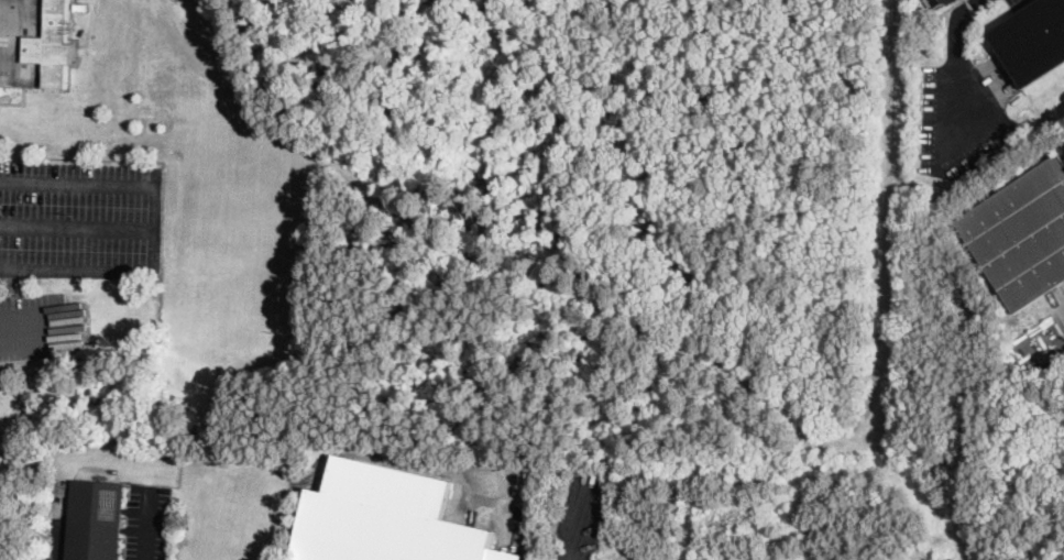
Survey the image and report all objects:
road: (975, 2)
parking lot: (1013, 2)
building: (78, 7)
building: (1031, 40)
building: (35, 43)
parking lot: (80, 217)
road: (77, 227)
road: (155, 227)
building: (1021, 234)
road: (19, 330)
building: (385, 518)
building: (95, 520)
road: (147, 523)
road: (57, 529)

